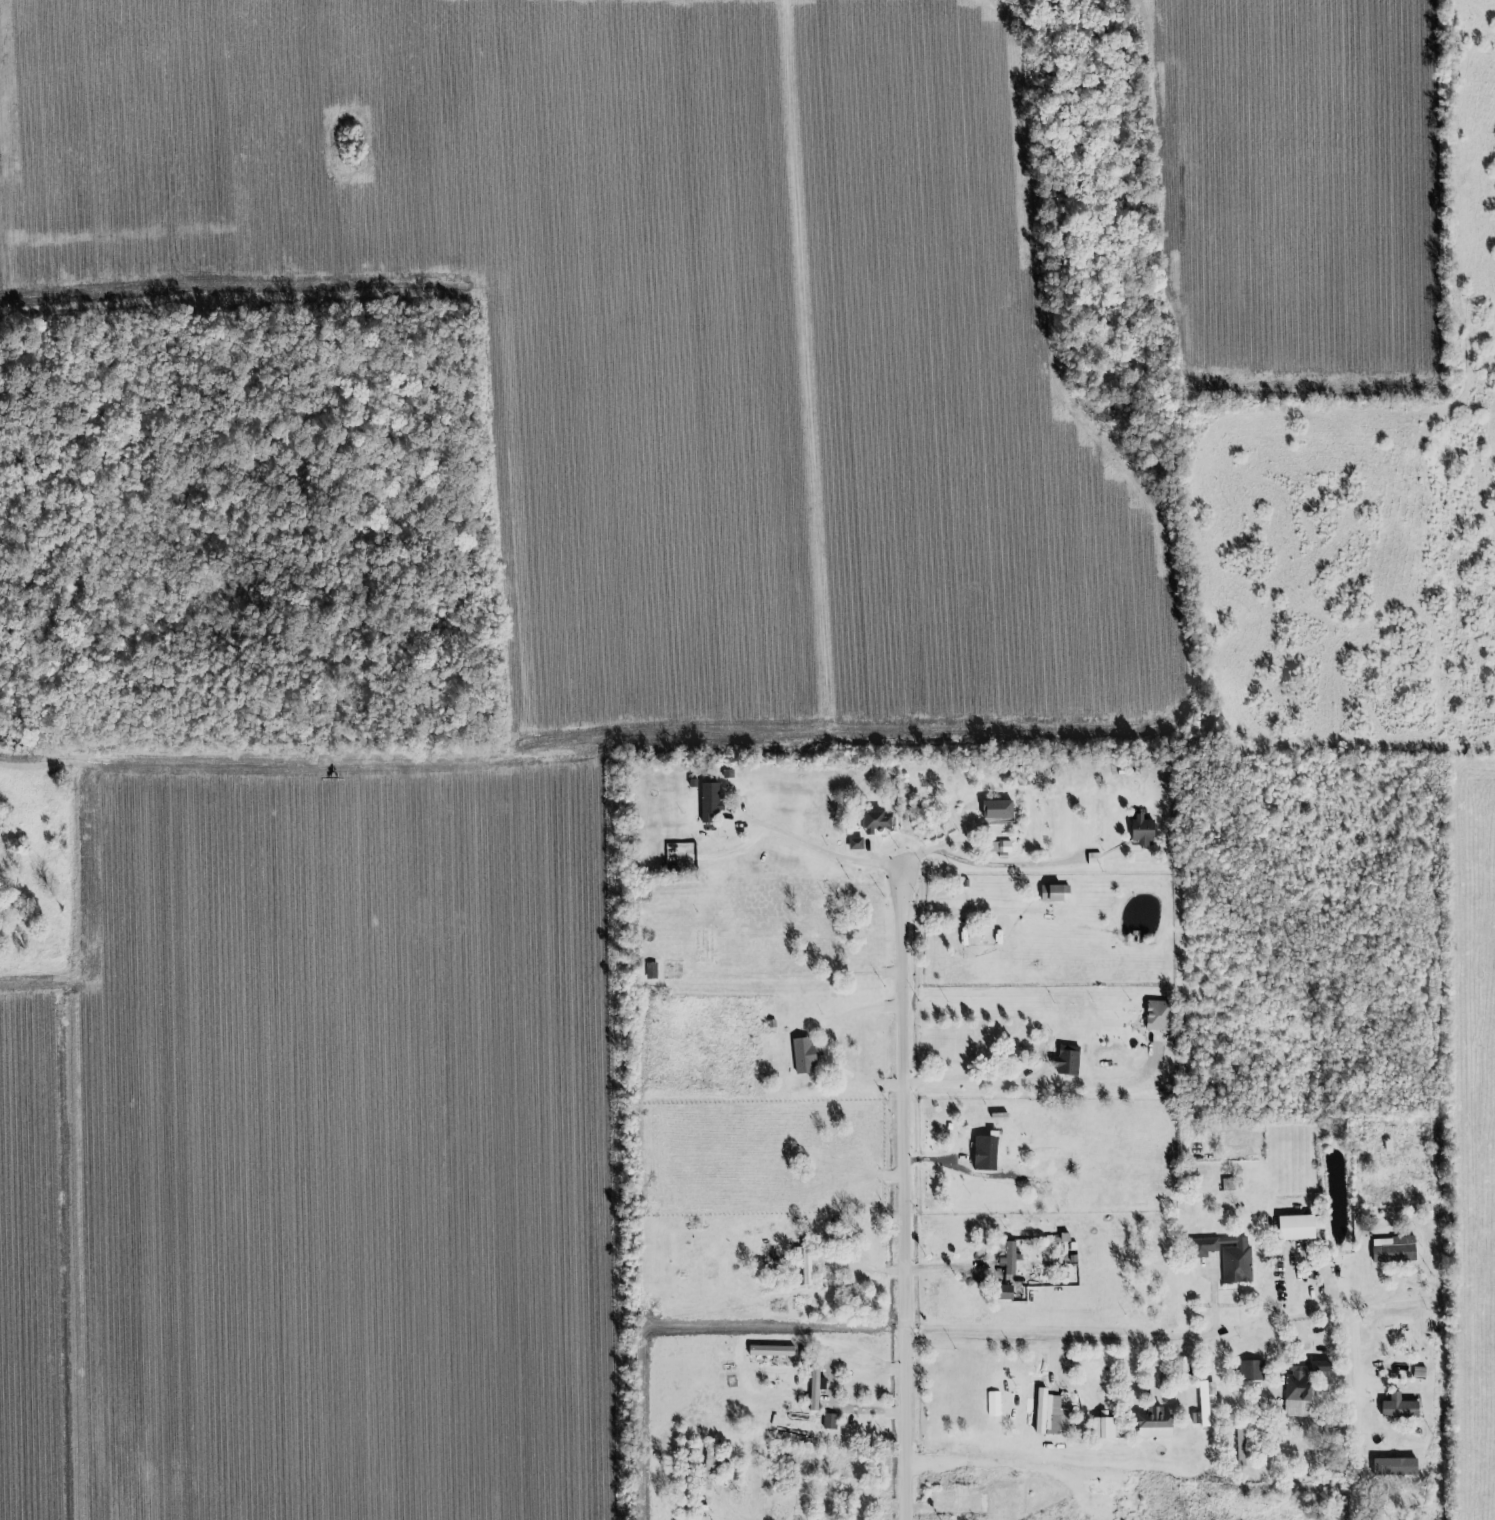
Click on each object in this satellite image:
road: (343, 761)
building: (727, 773)
building: (712, 794)
building: (1000, 813)
building: (1098, 820)
building: (874, 821)
building: (1141, 830)
building: (855, 842)
road: (813, 846)
building: (999, 846)
building: (1093, 858)
road: (987, 864)
building: (1054, 893)
road: (787, 976)
building: (1157, 1015)
building: (802, 1056)
building: (1066, 1060)
road: (1030, 1081)
road: (854, 1082)
building: (984, 1152)
road: (903, 1189)
building: (1295, 1227)
building: (1393, 1249)
building: (1227, 1256)
building: (1009, 1259)
building: (1009, 1292)
road: (1147, 1341)
building: (770, 1351)
road: (1355, 1360)
road: (1056, 1368)
building: (1250, 1370)
building: (1300, 1386)
building: (814, 1387)
building: (1205, 1400)
road: (848, 1408)
building: (1398, 1408)
building: (1049, 1414)
building: (829, 1421)
building: (1153, 1424)
building: (1103, 1428)
building: (1394, 1467)
road: (729, 1514)

